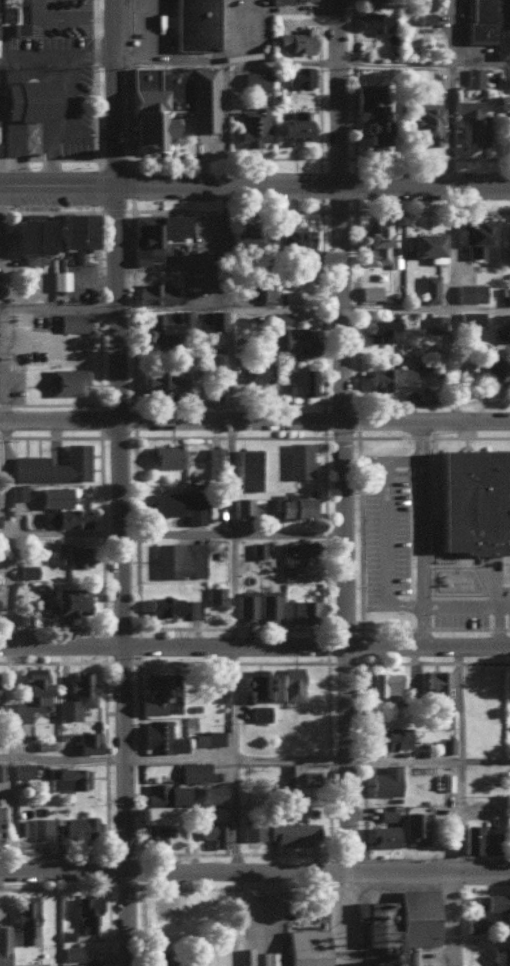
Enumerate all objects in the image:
building: (290, 0)
building: (373, 2)
building: (421, 4)
building: (5, 12)
road: (93, 20)
building: (374, 20)
building: (479, 20)
building: (193, 24)
building: (19, 27)
building: (503, 28)
building: (294, 41)
road: (93, 52)
road: (61, 53)
road: (481, 61)
road: (286, 63)
building: (298, 75)
building: (473, 76)
building: (254, 79)
building: (505, 81)
road: (345, 91)
road: (122, 92)
building: (29, 99)
building: (503, 100)
building: (168, 101)
road: (94, 111)
building: (370, 113)
building: (471, 120)
building: (421, 122)
building: (17, 124)
building: (250, 125)
building: (291, 126)
building: (509, 127)
road: (1, 158)
road: (9, 158)
road: (20, 158)
road: (32, 158)
road: (48, 158)
road: (78, 158)
road: (254, 184)
road: (4, 205)
road: (6, 209)
road: (86, 209)
road: (460, 211)
building: (74, 232)
building: (154, 235)
building: (474, 236)
building: (30, 238)
building: (241, 239)
building: (506, 242)
building: (374, 243)
building: (426, 245)
building: (291, 247)
building: (59, 279)
building: (428, 288)
building: (369, 291)
building: (469, 291)
road: (97, 292)
building: (155, 292)
building: (265, 292)
building: (508, 293)
building: (287, 296)
road: (255, 308)
building: (470, 317)
building: (215, 319)
building: (73, 321)
building: (435, 323)
building: (166, 325)
building: (381, 329)
building: (505, 332)
building: (292, 340)
road: (1, 365)
building: (471, 367)
building: (257, 369)
building: (502, 371)
building: (390, 379)
building: (66, 380)
building: (164, 381)
building: (300, 381)
road: (98, 402)
road: (4, 403)
road: (255, 423)
building: (167, 455)
building: (212, 455)
building: (298, 459)
building: (53, 465)
building: (248, 468)
road: (229, 479)
building: (17, 491)
building: (53, 496)
building: (473, 500)
building: (176, 504)
building: (292, 505)
building: (243, 507)
building: (63, 517)
road: (348, 529)
road: (383, 532)
road: (2, 535)
road: (174, 535)
road: (421, 535)
building: (257, 549)
building: (71, 554)
building: (294, 556)
building: (178, 559)
building: (26, 570)
road: (121, 575)
road: (232, 590)
building: (215, 595)
building: (70, 600)
road: (466, 605)
building: (174, 606)
building: (268, 606)
building: (245, 607)
building: (301, 610)
building: (15, 618)
road: (497, 625)
road: (254, 646)
building: (290, 683)
building: (255, 684)
building: (385, 684)
building: (436, 688)
building: (30, 692)
building: (157, 692)
building: (75, 694)
road: (232, 702)
building: (259, 711)
building: (159, 735)
building: (388, 735)
building: (208, 736)
building: (85, 740)
building: (446, 744)
road: (255, 758)
road: (458, 759)
road: (8, 760)
building: (20, 768)
building: (193, 769)
building: (1, 770)
building: (297, 773)
building: (67, 776)
building: (386, 780)
building: (208, 792)
building: (163, 800)
building: (0, 813)
building: (387, 813)
road: (234, 816)
building: (80, 824)
building: (19, 826)
building: (415, 826)
building: (39, 827)
building: (252, 827)
building: (214, 831)
building: (293, 831)
building: (156, 833)
building: (383, 834)
building: (477, 838)
road: (254, 873)
building: (87, 911)
building: (26, 917)
road: (358, 920)
road: (461, 920)
building: (396, 921)
building: (471, 922)
building: (3, 943)
building: (305, 946)
building: (71, 951)
building: (508, 954)
building: (162, 958)
building: (84, 963)
building: (37, 964)

